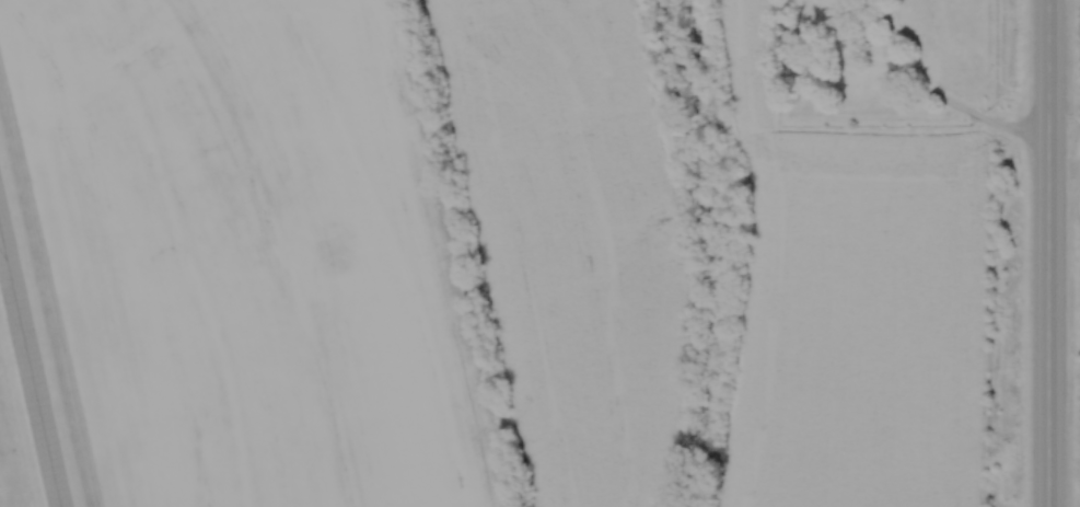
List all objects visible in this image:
road: (934, 99)
road: (1046, 253)
airport taxiway: (28, 370)

